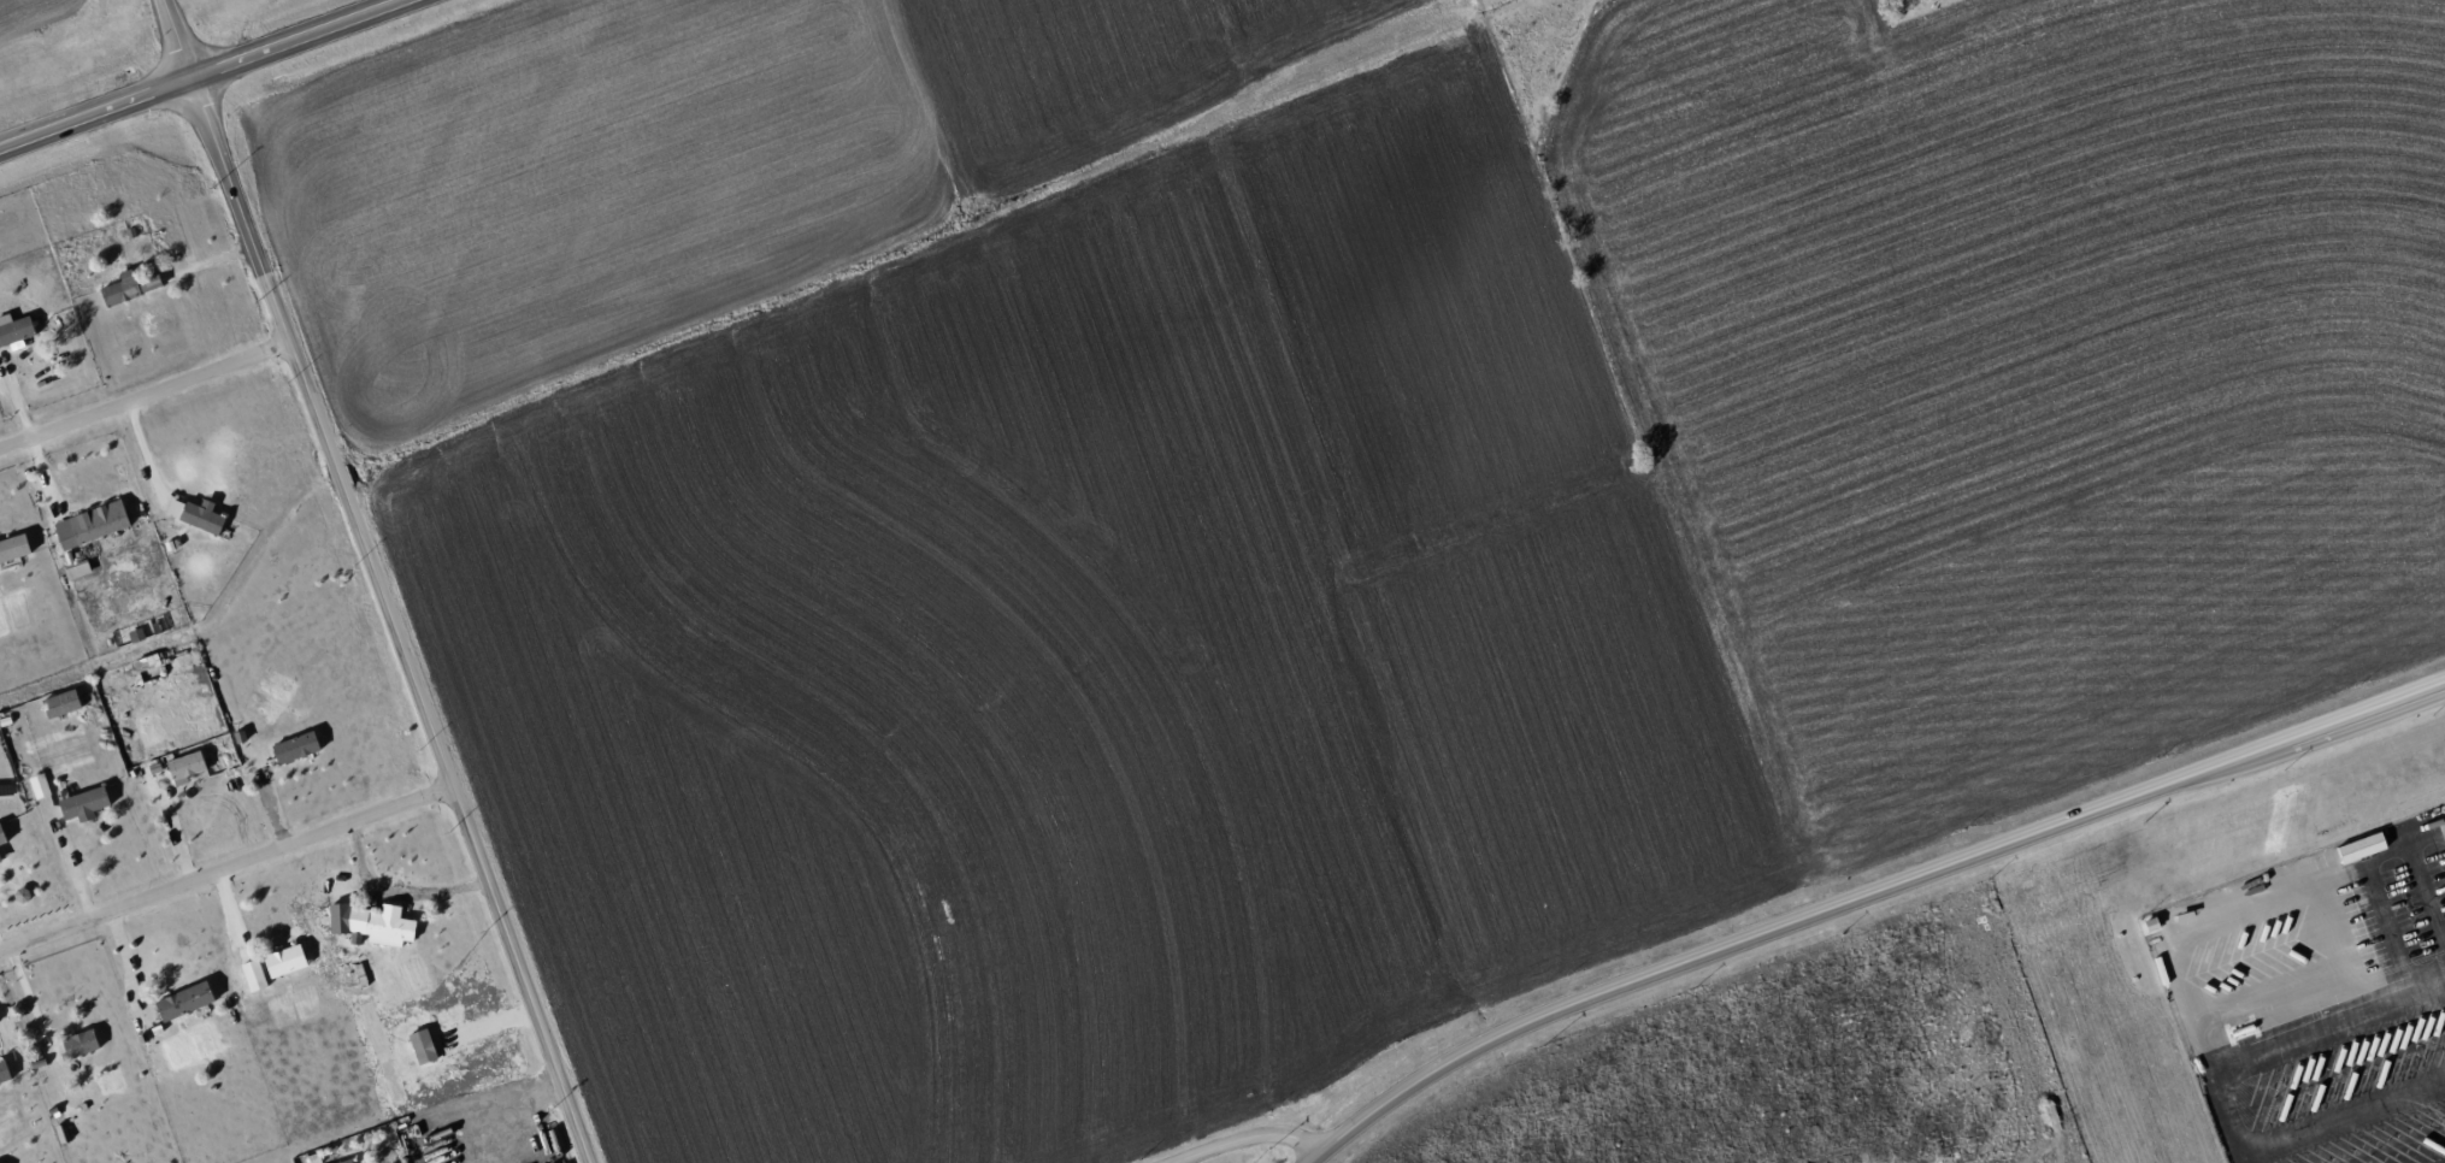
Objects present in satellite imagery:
road: (173, 40)
road: (202, 73)
building: (130, 287)
building: (14, 329)
road: (142, 395)
road: (142, 454)
building: (195, 515)
building: (99, 521)
building: (13, 548)
building: (77, 568)
road: (388, 621)
building: (147, 662)
building: (60, 703)
building: (295, 748)
building: (185, 766)
building: (39, 786)
building: (83, 802)
building: (1, 836)
building: (0, 861)
road: (224, 868)
road: (1864, 895)
building: (338, 919)
road: (2193, 921)
building: (389, 927)
road: (2387, 927)
building: (284, 961)
building: (253, 975)
building: (184, 1000)
road: (2329, 1026)
building: (79, 1044)
building: (4, 1072)
road: (1250, 1138)
building: (346, 1161)

